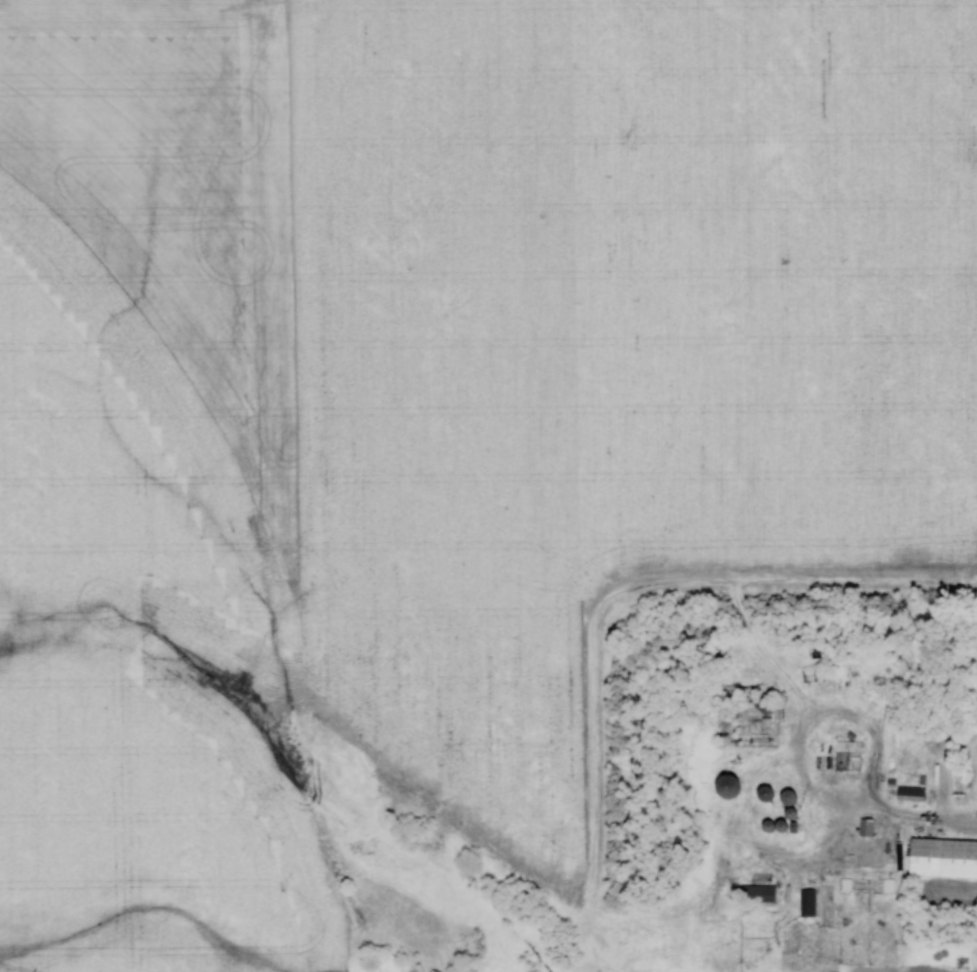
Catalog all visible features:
building: (847, 746)
building: (724, 787)
building: (909, 792)
building: (762, 793)
building: (785, 798)
building: (865, 827)
building: (942, 858)
building: (845, 885)
building: (756, 894)
building: (806, 903)

